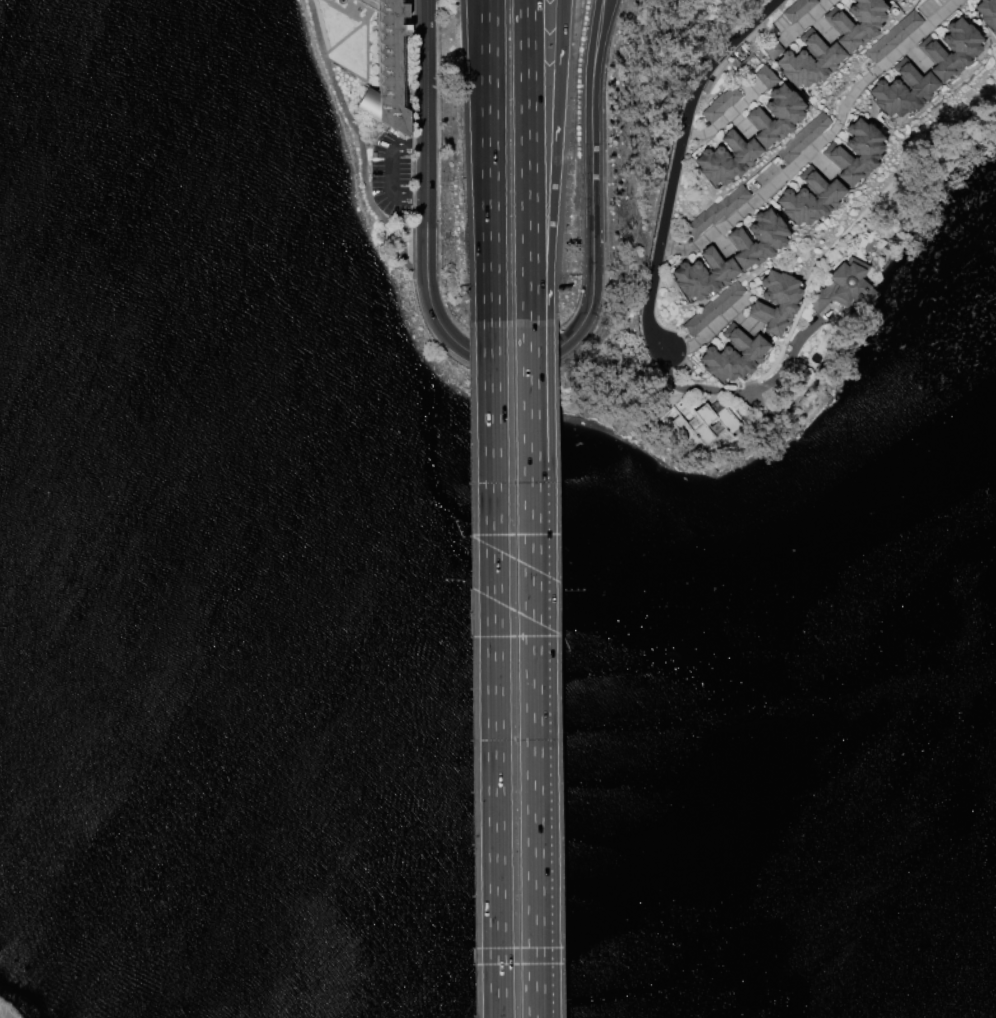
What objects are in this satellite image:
building: (890, 0)
building: (797, 9)
building: (987, 13)
road: (599, 27)
building: (853, 27)
building: (893, 36)
road: (915, 36)
building: (950, 49)
building: (808, 61)
building: (386, 69)
building: (762, 77)
building: (902, 90)
road: (852, 94)
building: (717, 104)
road: (424, 113)
building: (773, 116)
building: (803, 137)
road: (358, 144)
building: (854, 152)
building: (724, 158)
road: (528, 159)
road: (488, 160)
road: (555, 161)
road: (676, 162)
road: (389, 172)
road: (592, 186)
road: (753, 197)
building: (808, 198)
building: (716, 211)
building: (756, 239)
road: (427, 256)
building: (702, 274)
building: (844, 287)
building: (776, 302)
building: (713, 308)
road: (710, 330)
building: (733, 355)
road: (495, 360)
road: (749, 391)
building: (719, 421)
road: (493, 669)
road: (532, 669)

